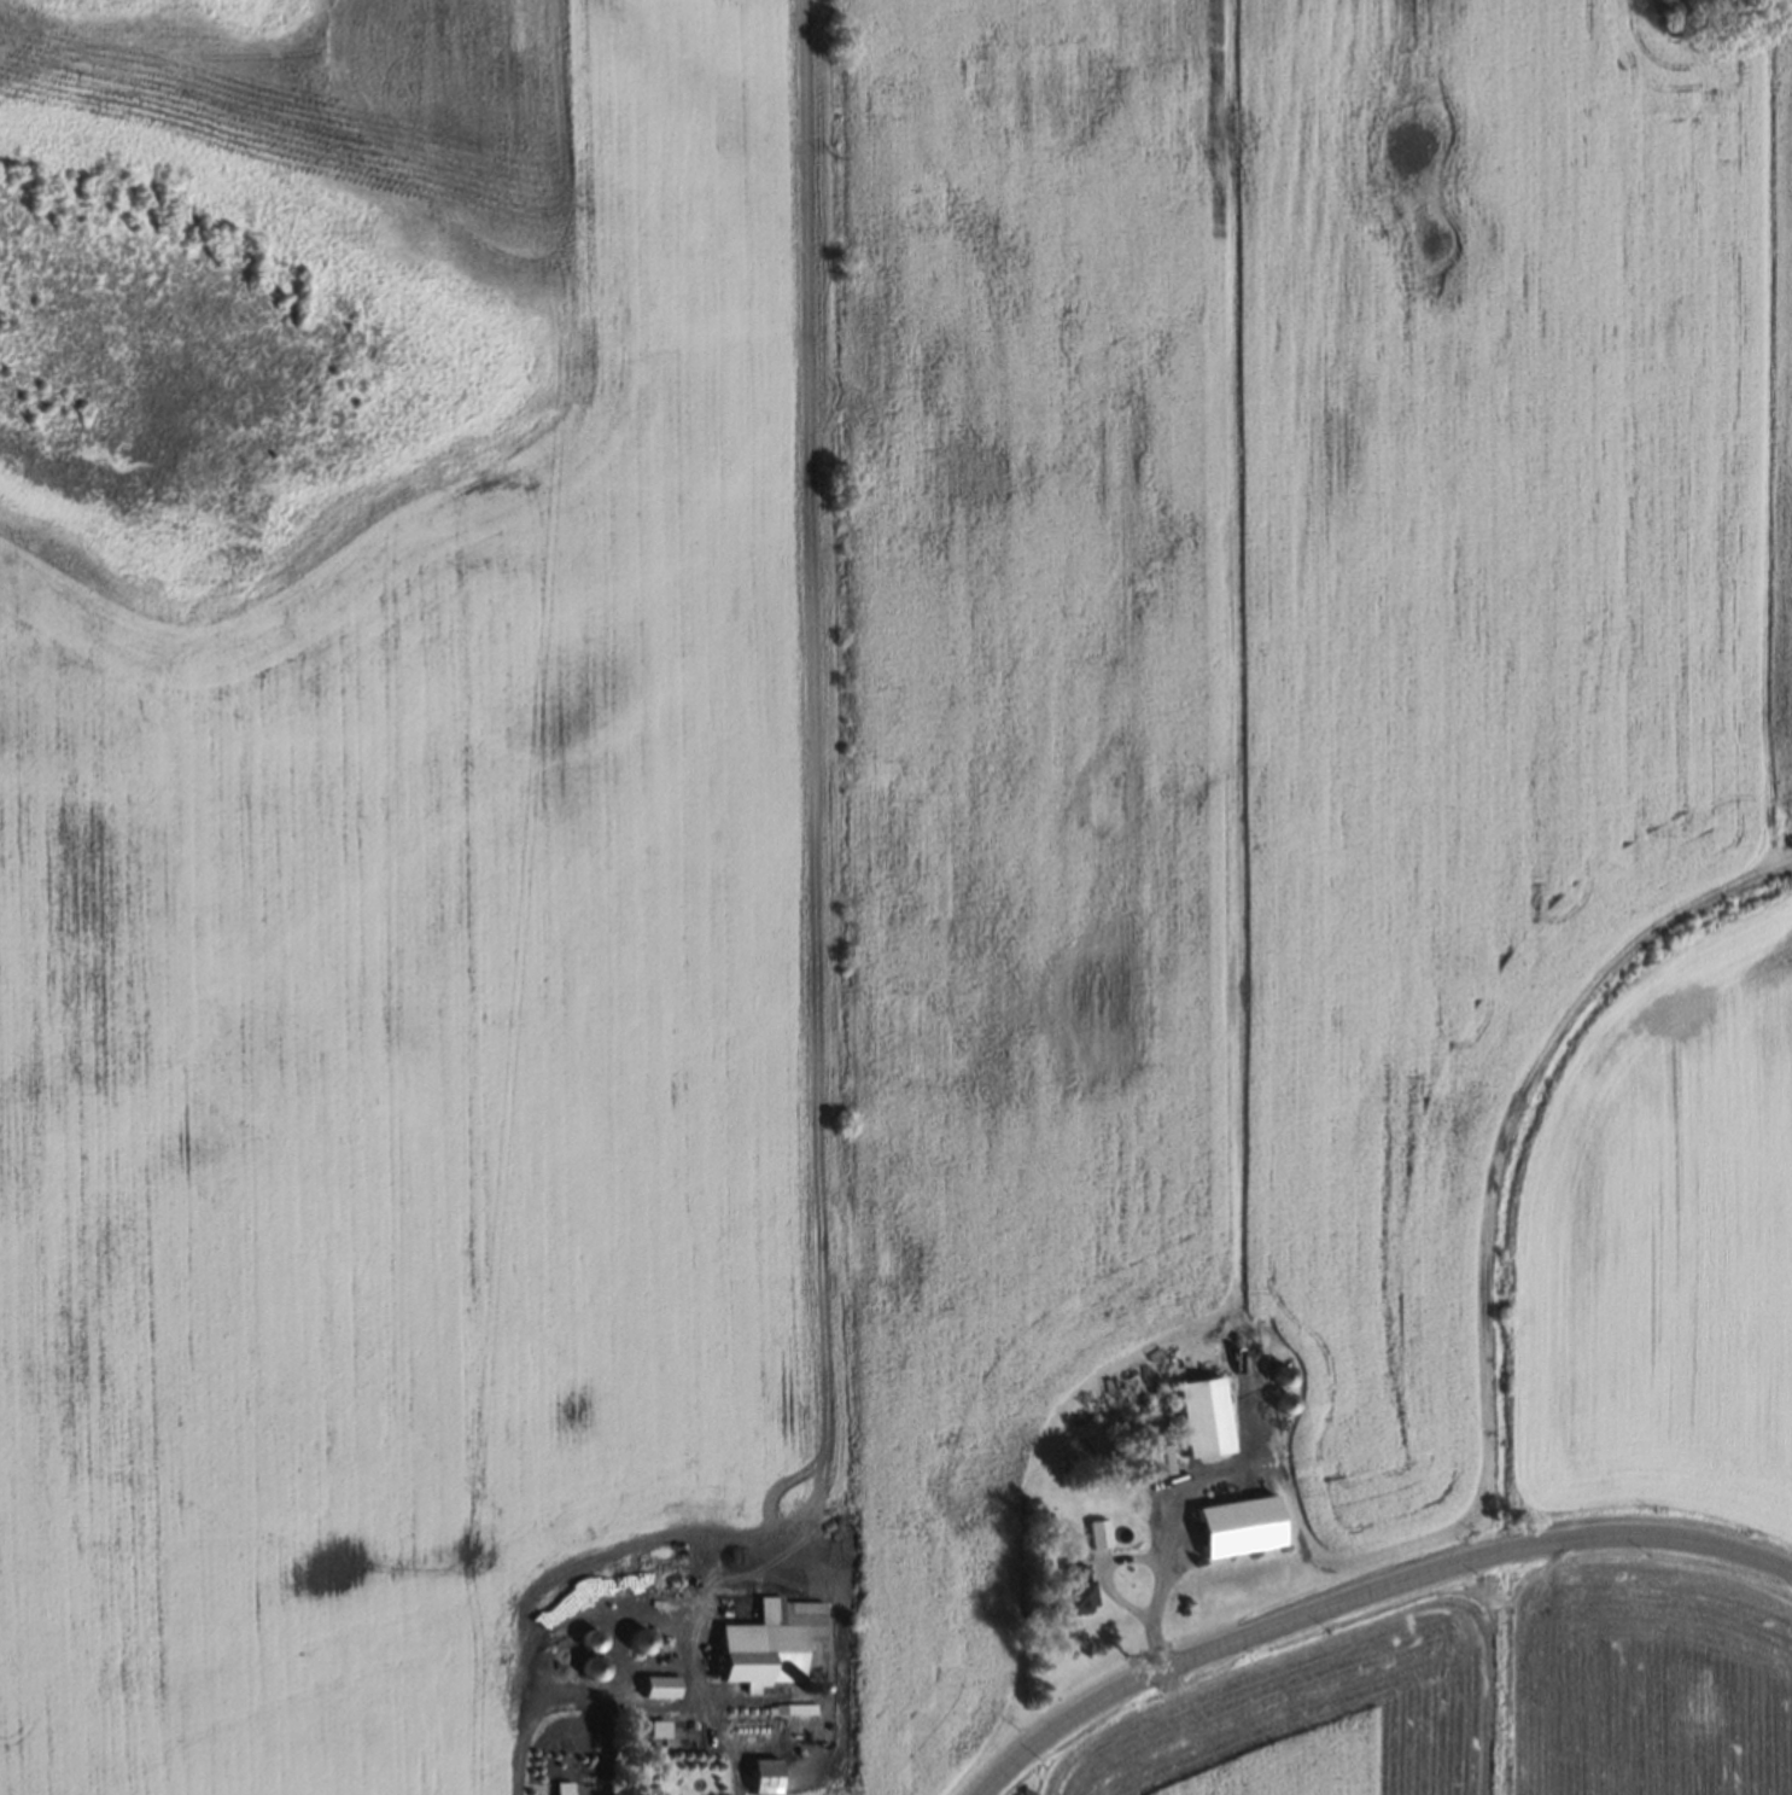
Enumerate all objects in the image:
building: (1208, 1418)
building: (1150, 1444)
building: (1243, 1528)
building: (1093, 1533)
road: (1105, 1575)
building: (1072, 1587)
road: (1370, 1595)
building: (1178, 1607)
building: (705, 1622)
building: (588, 1638)
building: (636, 1639)
building: (702, 1640)
building: (771, 1647)
building: (589, 1666)
building: (656, 1685)
building: (807, 1686)
road: (626, 1703)
building: (760, 1774)

